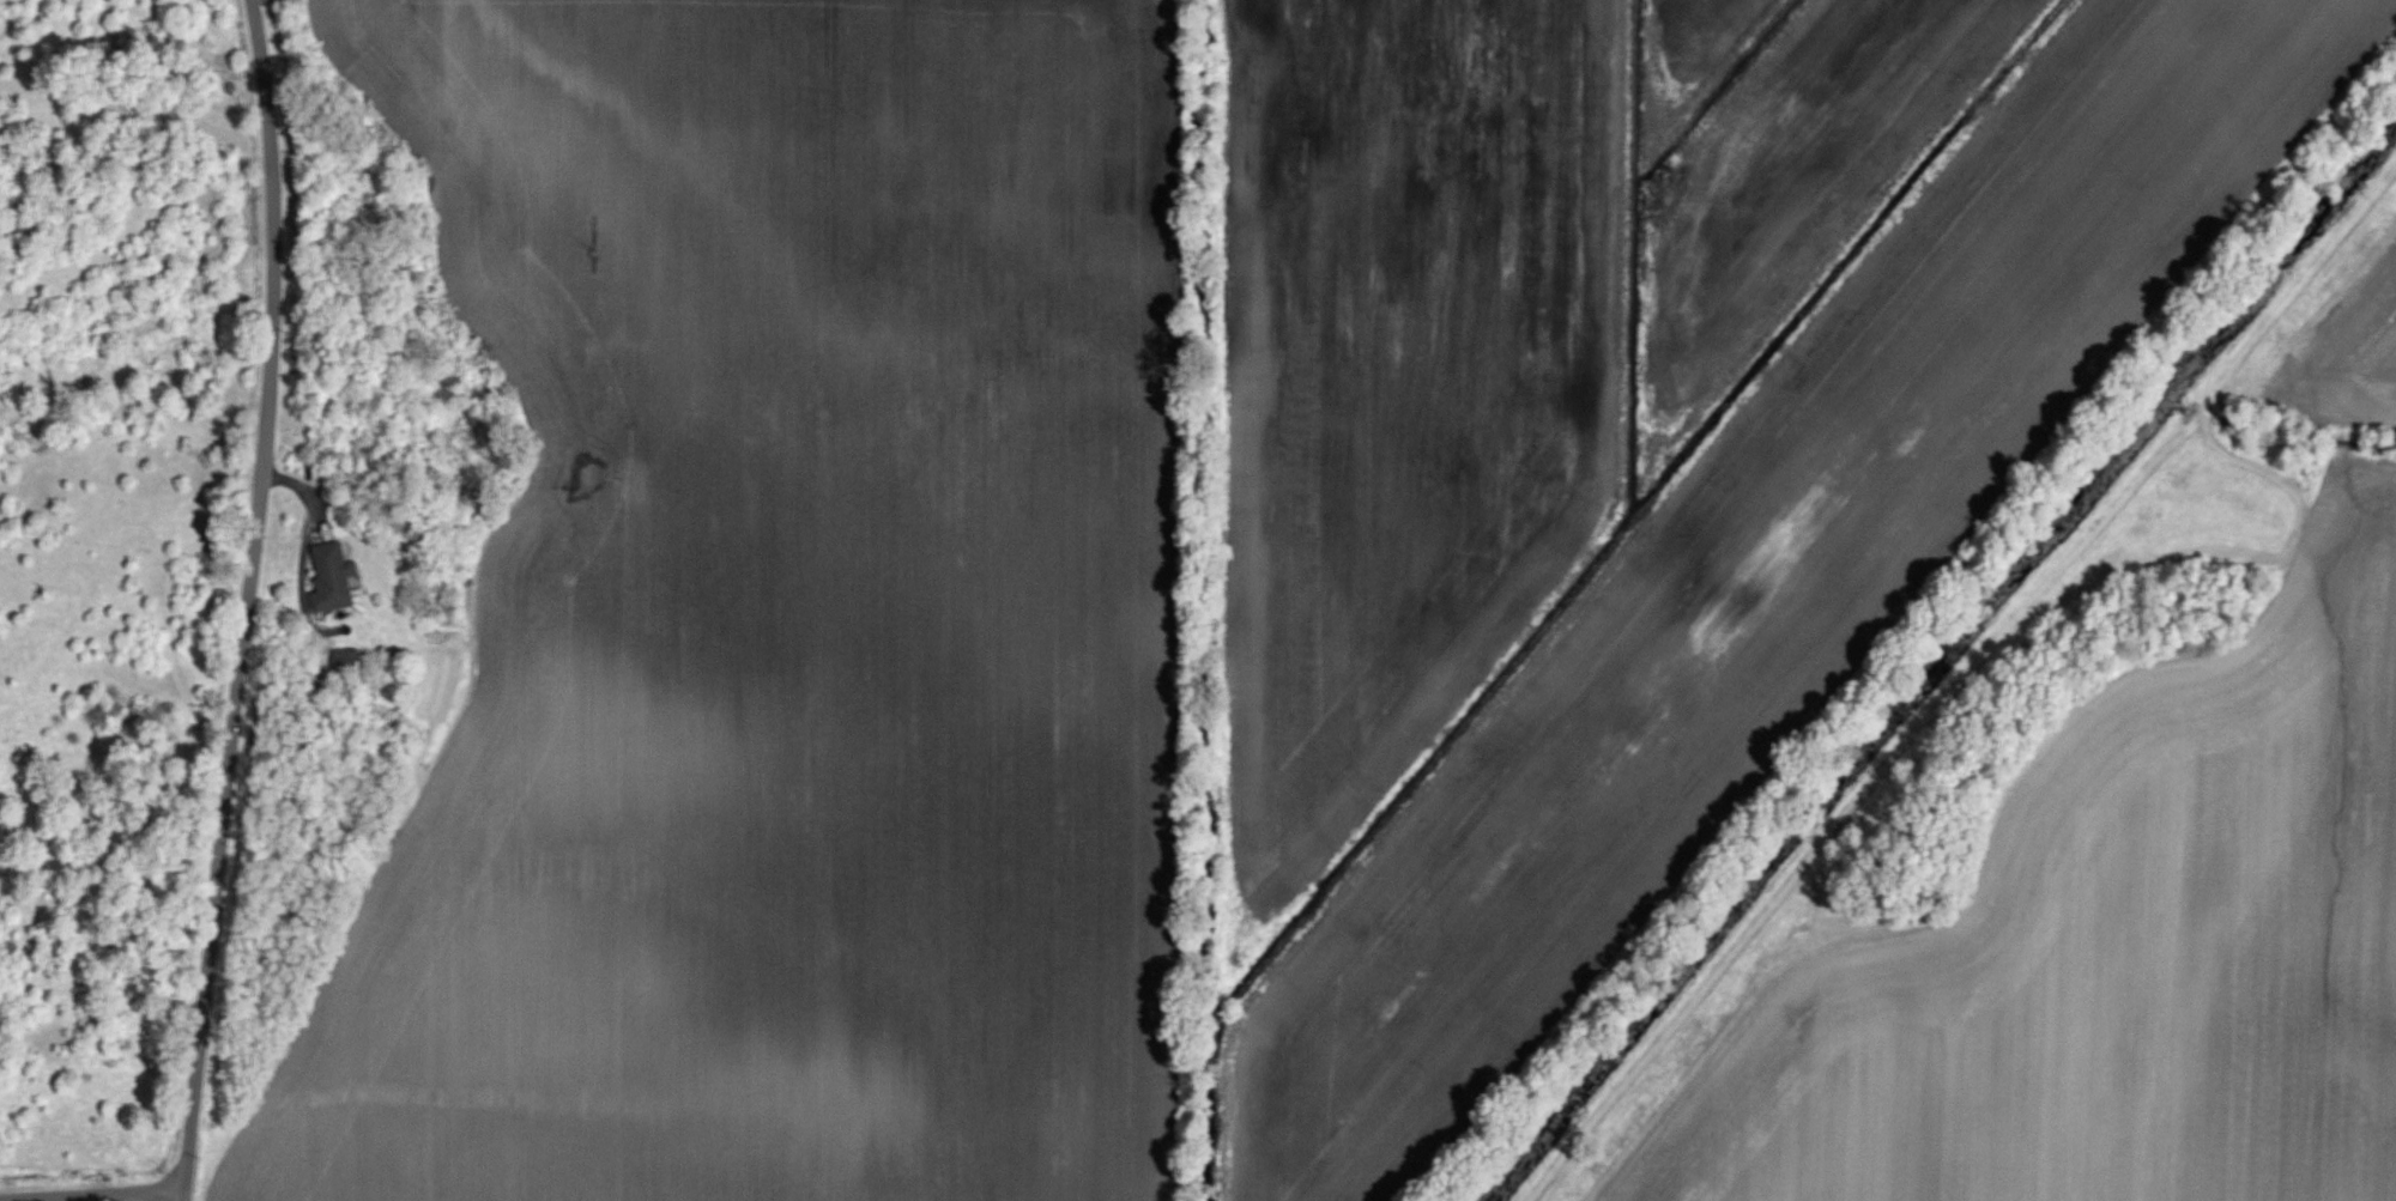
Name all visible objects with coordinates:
building: (337, 578)
road: (249, 596)
building: (350, 661)
road: (110, 1196)
road: (186, 1196)

